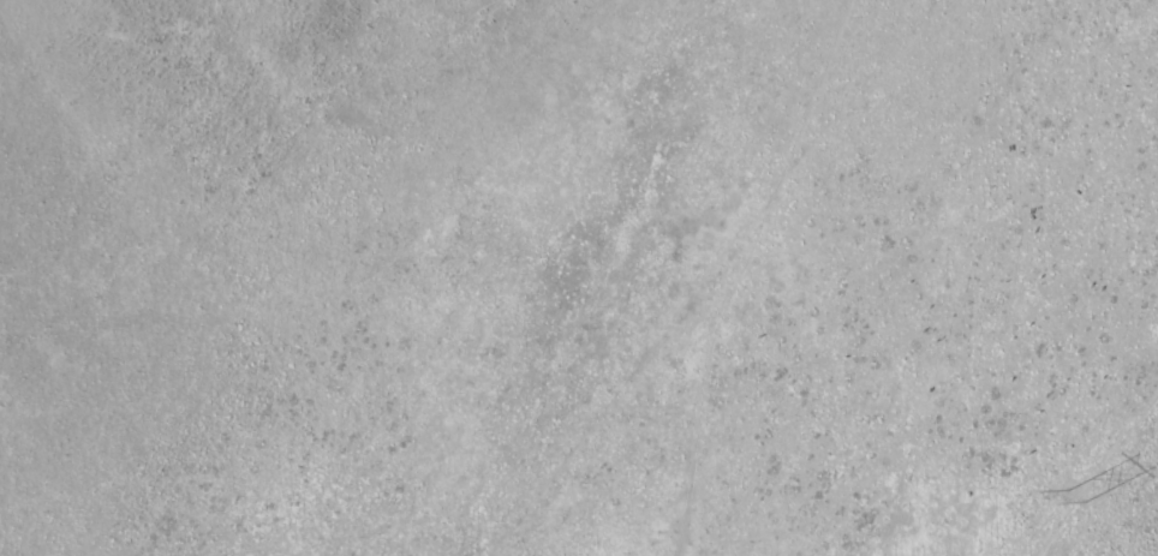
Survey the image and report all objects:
power tower: (1057, 501)

